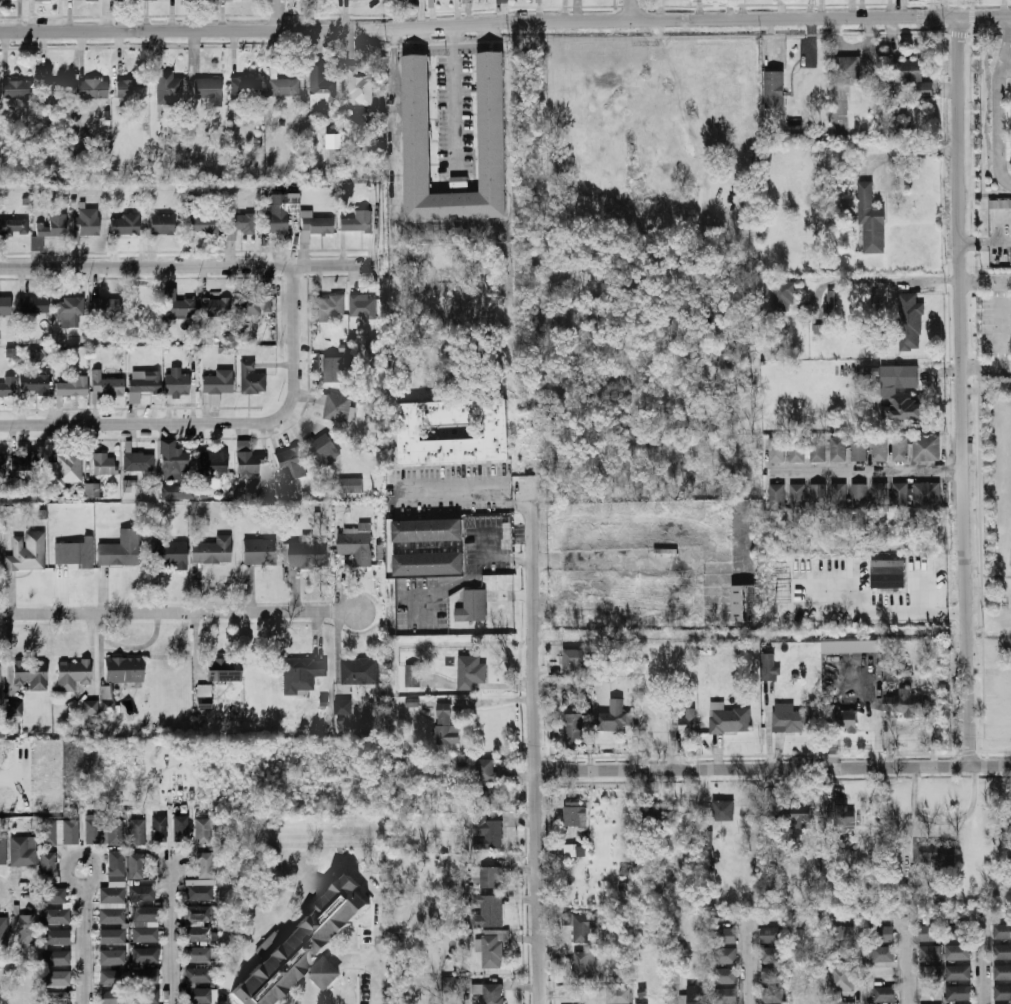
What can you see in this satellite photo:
building: (3, 0)
building: (37, 0)
building: (504, 1)
road: (494, 9)
road: (629, 10)
road: (281, 15)
road: (505, 23)
road: (968, 28)
road: (732, 35)
road: (1005, 40)
building: (906, 70)
building: (845, 71)
road: (454, 86)
building: (247, 87)
building: (285, 87)
building: (320, 87)
building: (169, 88)
building: (17, 89)
building: (55, 89)
building: (93, 89)
building: (131, 89)
building: (774, 89)
building: (210, 90)
building: (359, 90)
building: (925, 90)
road: (996, 120)
building: (492, 123)
building: (336, 130)
building: (335, 153)
building: (999, 203)
building: (278, 213)
building: (870, 219)
building: (358, 222)
building: (86, 224)
building: (163, 224)
building: (238, 224)
building: (125, 225)
building: (203, 225)
building: (317, 226)
building: (14, 227)
building: (50, 229)
road: (189, 269)
road: (899, 278)
road: (985, 278)
building: (784, 295)
building: (831, 303)
building: (331, 305)
building: (35, 306)
building: (255, 306)
building: (6, 307)
building: (107, 307)
building: (179, 307)
building: (216, 307)
building: (362, 307)
building: (72, 310)
building: (910, 322)
road: (985, 364)
building: (336, 368)
building: (252, 379)
building: (178, 383)
building: (35, 384)
building: (143, 384)
building: (74, 385)
building: (107, 385)
building: (217, 386)
building: (8, 387)
road: (960, 390)
road: (985, 390)
building: (900, 393)
building: (336, 406)
road: (218, 425)
building: (453, 432)
building: (797, 448)
building: (838, 448)
building: (859, 448)
building: (879, 448)
building: (900, 448)
building: (926, 448)
building: (322, 449)
building: (777, 449)
building: (818, 449)
building: (173, 460)
building: (26, 461)
building: (248, 461)
building: (3, 462)
building: (139, 462)
building: (291, 463)
building: (106, 464)
building: (213, 466)
building: (68, 469)
road: (863, 471)
road: (449, 482)
building: (351, 485)
building: (92, 490)
building: (179, 492)
building: (817, 495)
building: (839, 495)
building: (860, 495)
building: (879, 495)
building: (900, 495)
building: (927, 495)
building: (777, 496)
building: (797, 496)
park: (996, 502)
road: (487, 506)
building: (428, 530)
building: (357, 544)
building: (121, 549)
building: (214, 551)
building: (27, 552)
building: (260, 552)
building: (309, 553)
building: (74, 554)
building: (169, 554)
building: (428, 563)
building: (887, 573)
road: (986, 576)
building: (739, 603)
building: (472, 606)
road: (903, 609)
road: (179, 613)
building: (851, 645)
building: (574, 661)
building: (768, 667)
building: (124, 669)
building: (223, 670)
building: (359, 671)
building: (469, 672)
building: (72, 674)
building: (31, 675)
building: (302, 676)
building: (413, 676)
building: (0, 684)
building: (204, 693)
building: (915, 701)
building: (90, 707)
building: (108, 707)
building: (343, 707)
building: (14, 709)
building: (612, 716)
building: (790, 718)
building: (729, 719)
building: (688, 721)
building: (847, 721)
building: (446, 726)
building: (575, 726)
road: (535, 751)
road: (773, 766)
building: (485, 769)
road: (10, 777)
building: (496, 799)
building: (723, 810)
building: (575, 813)
building: (660, 814)
building: (797, 814)
building: (842, 814)
building: (182, 828)
building: (203, 829)
building: (159, 830)
building: (69, 832)
building: (104, 832)
building: (137, 832)
building: (487, 832)
building: (52, 835)
building: (774, 845)
building: (3, 850)
building: (19, 851)
building: (933, 852)
building: (116, 864)
building: (205, 865)
building: (48, 867)
building: (136, 867)
building: (491, 876)
building: (199, 892)
building: (144, 893)
building: (53, 895)
building: (112, 895)
building: (487, 910)
building: (145, 914)
building: (198, 915)
building: (112, 916)
building: (56, 917)
building: (582, 924)
building: (3, 926)
building: (25, 928)
building: (1005, 930)
building: (962, 932)
road: (175, 933)
building: (887, 933)
building: (933, 933)
building: (198, 934)
building: (775, 934)
road: (87, 935)
building: (145, 935)
building: (729, 935)
building: (112, 936)
building: (57, 937)
building: (845, 939)
building: (303, 944)
road: (378, 945)
building: (1005, 949)
building: (492, 951)
building: (961, 952)
building: (775, 953)
building: (887, 953)
building: (934, 953)
building: (146, 955)
building: (198, 955)
building: (730, 955)
building: (113, 957)
building: (57, 958)
road: (359, 958)
road: (862, 960)
road: (904, 963)
building: (585, 965)
road: (986, 965)
road: (752, 970)
building: (1005, 970)
building: (325, 972)
building: (934, 972)
building: (961, 972)
building: (730, 974)
road: (685, 975)
building: (775, 975)
building: (146, 976)
building: (198, 976)
building: (846, 977)
building: (112, 978)
building: (57, 979)
building: (447, 984)
building: (1005, 990)
building: (962, 992)
building: (489, 993)
building: (703, 993)
building: (887, 993)
road: (311, 994)
building: (622, 994)
building: (730, 995)
building: (776, 995)
building: (199, 996)
building: (113, 997)
building: (147, 997)
road: (572, 997)
building: (57, 998)
building: (848, 1002)
building: (647, 1003)
building: (1006, 1003)

